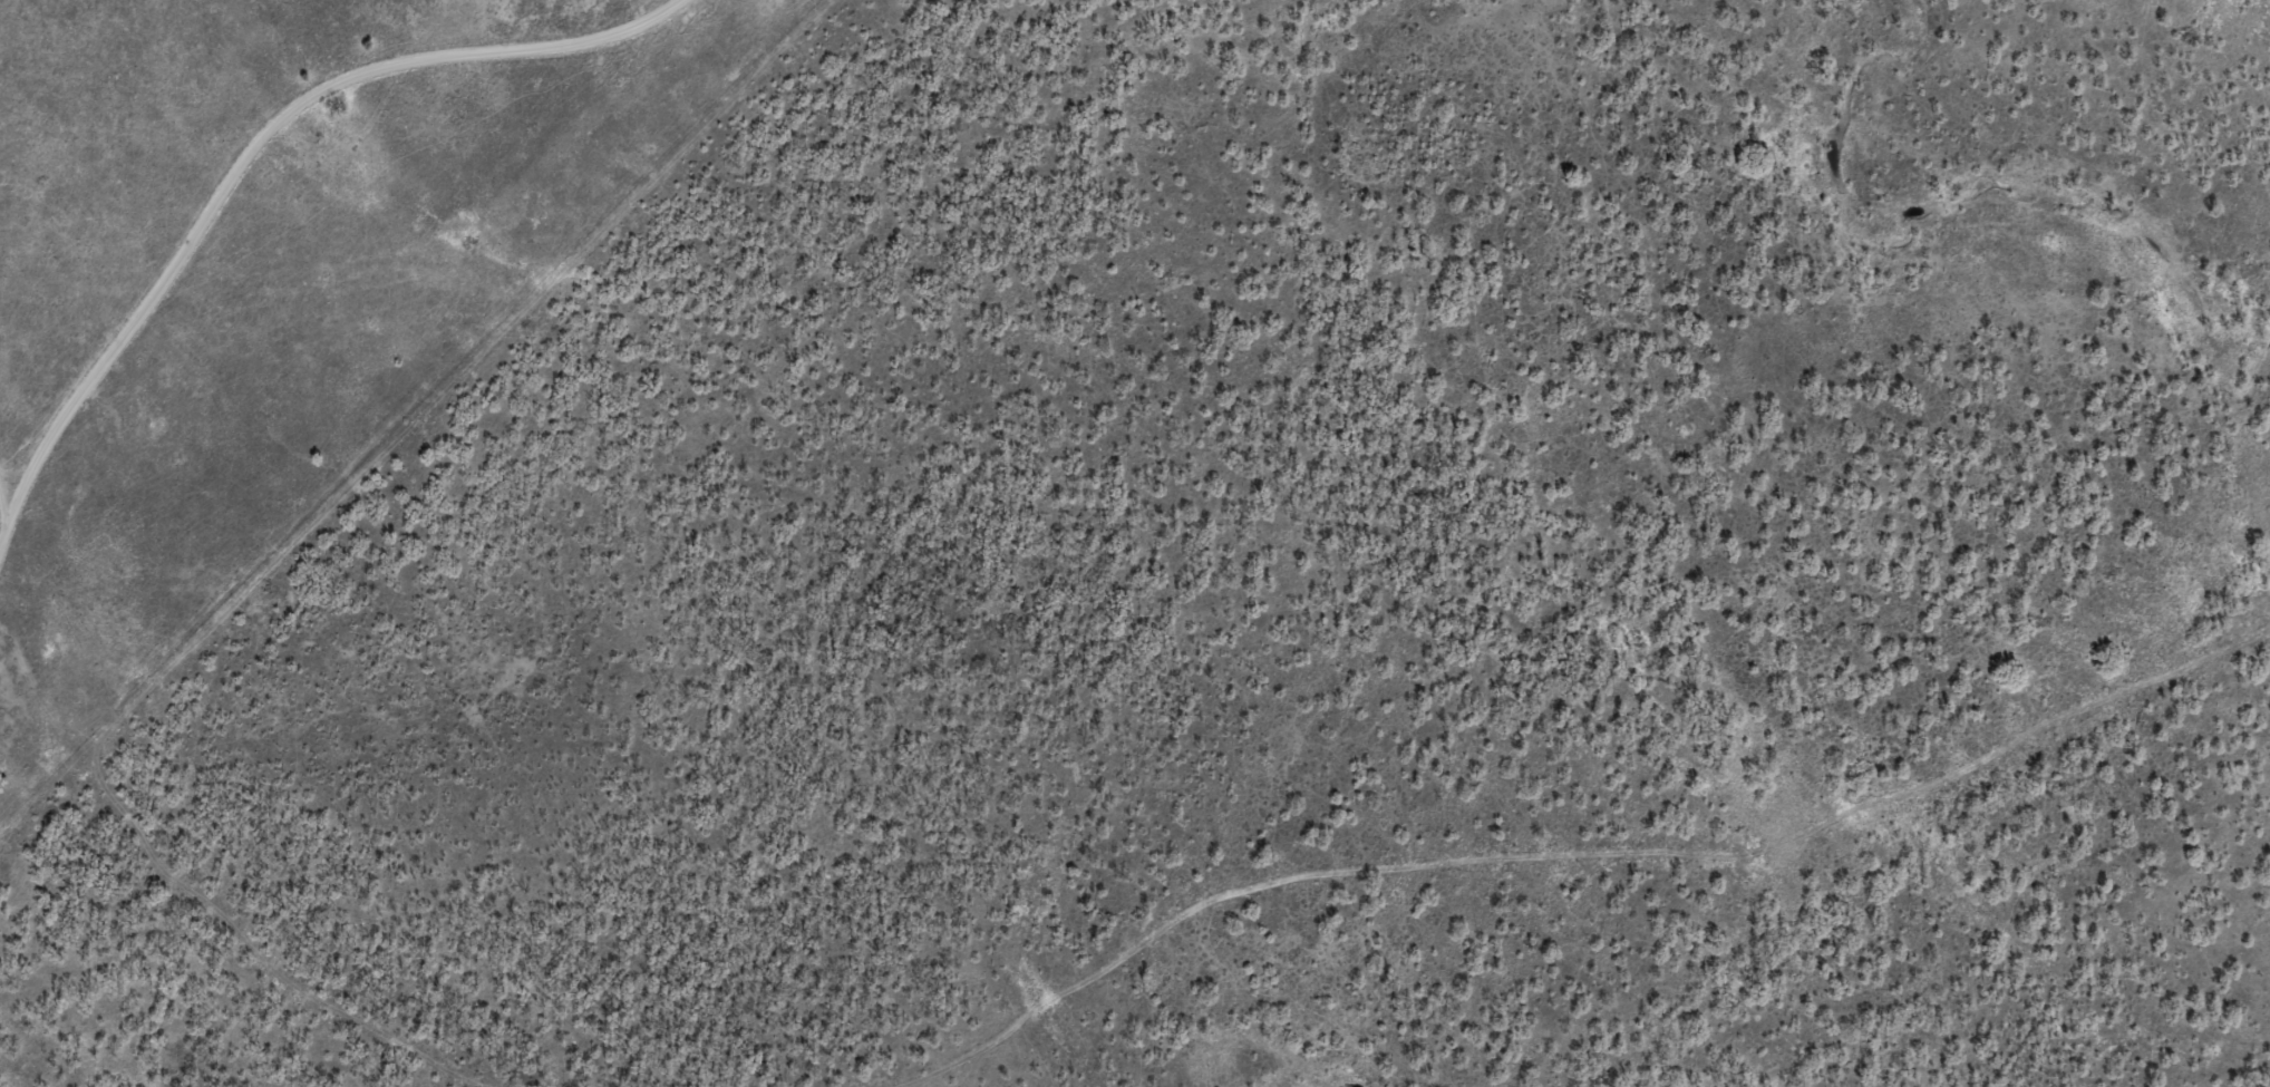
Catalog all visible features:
road: (237, 202)
road: (9, 459)

